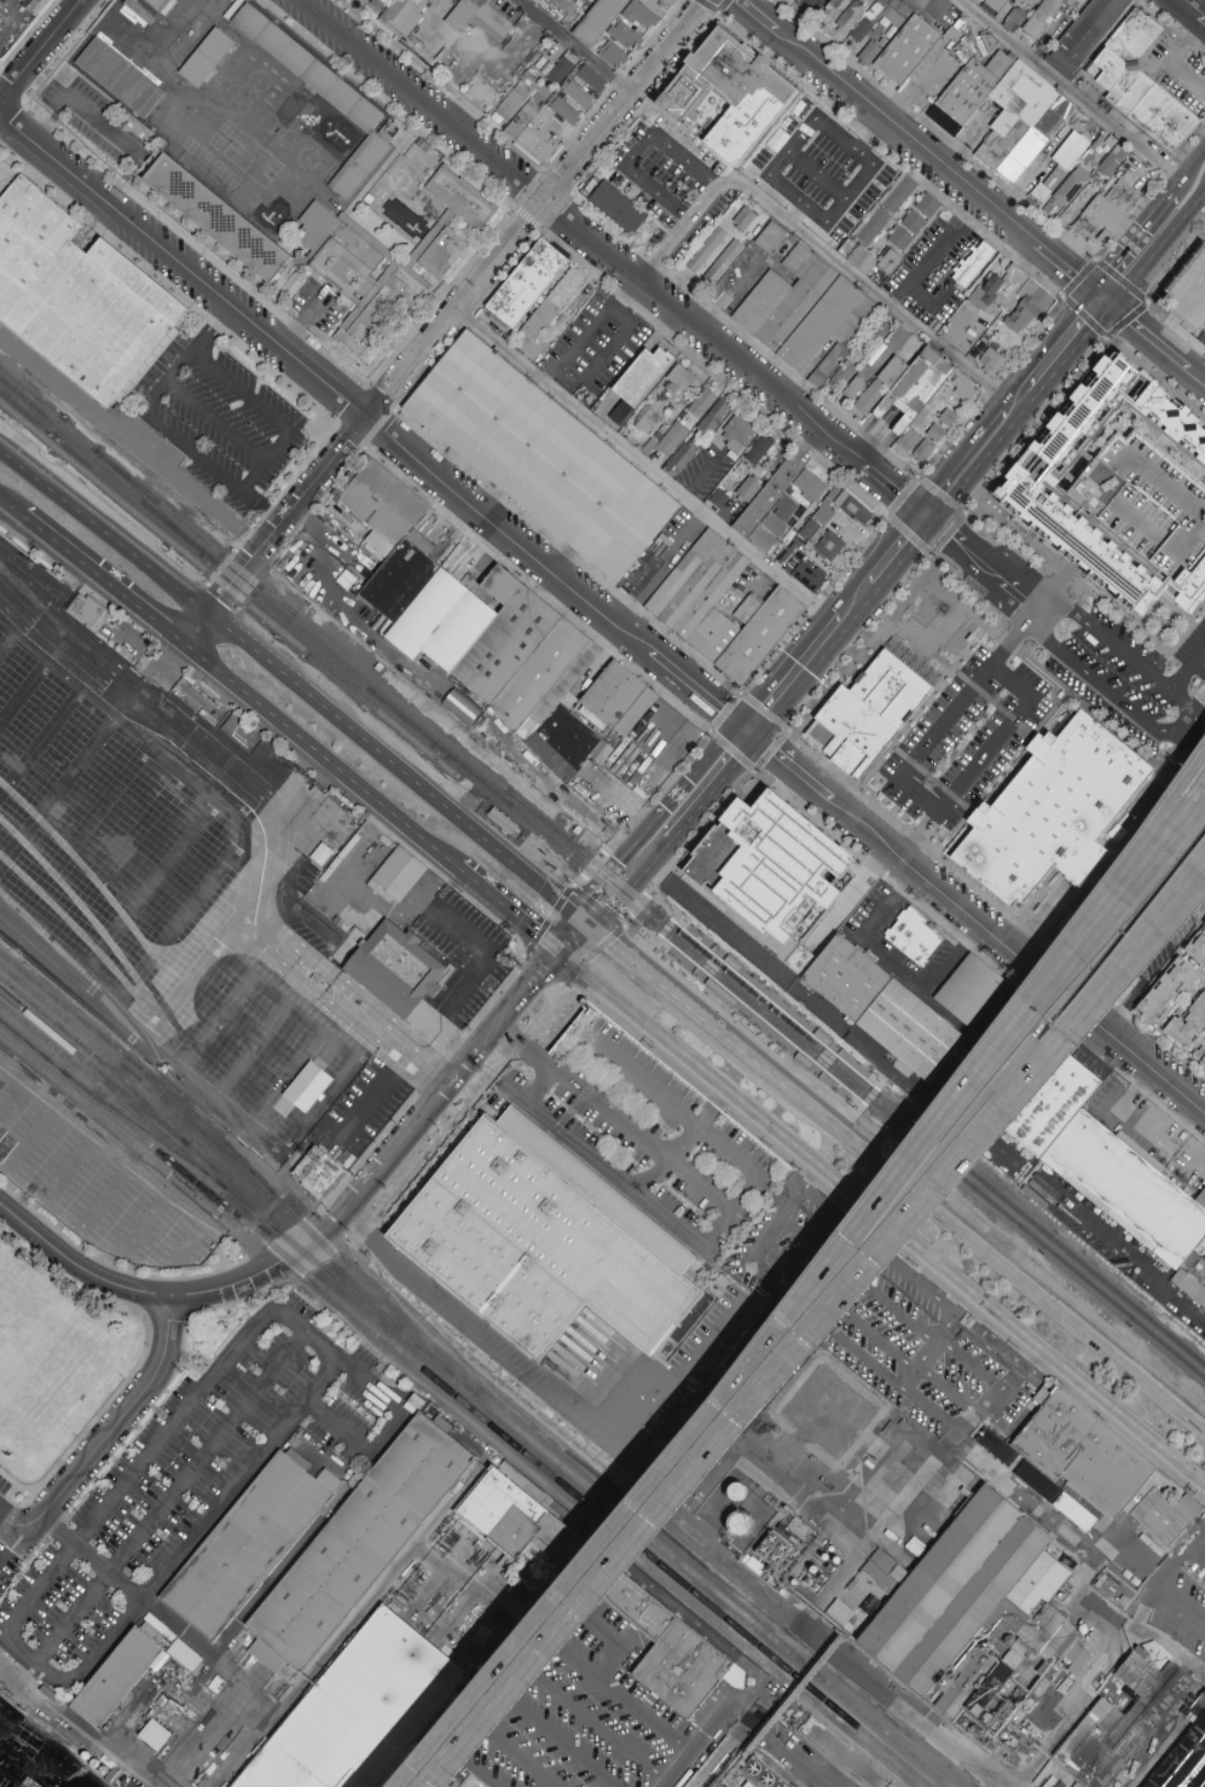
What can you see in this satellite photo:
road: (83, 1)
building: (388, 1)
building: (423, 1)
building: (1032, 1)
building: (1073, 1)
building: (160, 5)
building: (1054, 5)
building: (995, 6)
building: (834, 10)
building: (644, 12)
road: (1189, 12)
building: (137, 14)
building: (2, 18)
building: (483, 19)
building: (599, 19)
building: (870, 19)
building: (1013, 19)
road: (1174, 25)
building: (1035, 28)
building: (1085, 35)
building: (616, 43)
road: (575, 46)
building: (905, 50)
road: (44, 52)
building: (209, 59)
road: (1175, 60)
building: (556, 66)
building: (1139, 85)
building: (584, 87)
building: (120, 89)
building: (320, 94)
building: (728, 94)
building: (969, 94)
road: (1070, 94)
building: (519, 106)
building: (562, 108)
building: (1020, 108)
building: (807, 123)
road: (103, 126)
building: (539, 137)
road: (917, 147)
road: (637, 150)
building: (1024, 155)
building: (1113, 161)
road: (763, 166)
building: (1055, 168)
building: (868, 182)
road: (1001, 186)
road: (1197, 188)
building: (782, 190)
building: (1065, 190)
building: (462, 198)
building: (618, 208)
building: (886, 210)
building: (1103, 211)
building: (220, 213)
building: (745, 219)
building: (914, 222)
building: (834, 224)
road: (1151, 228)
road: (1126, 233)
building: (770, 238)
road: (819, 248)
building: (706, 250)
road: (614, 253)
building: (724, 260)
building: (874, 260)
building: (973, 265)
building: (377, 274)
building: (521, 279)
building: (995, 291)
road: (1149, 291)
building: (1189, 295)
parking lot: (1189, 295)
building: (73, 297)
track: (73, 297)
traffic signals: (1097, 297)
building: (549, 302)
building: (1027, 307)
road: (608, 308)
building: (812, 317)
road: (1111, 330)
building: (877, 332)
road: (433, 338)
road: (1151, 341)
building: (986, 360)
building: (637, 375)
building: (679, 382)
building: (877, 385)
road: (991, 387)
building: (853, 389)
building: (963, 389)
building: (913, 390)
road: (1008, 402)
building: (707, 411)
building: (948, 418)
building: (647, 419)
road: (371, 420)
road: (215, 422)
road: (1032, 423)
building: (736, 433)
building: (935, 434)
road: (132, 439)
building: (672, 439)
building: (644, 445)
building: (914, 445)
building: (759, 449)
building: (537, 454)
building: (682, 457)
road: (645, 464)
road: (216, 474)
road: (699, 476)
building: (807, 485)
building: (1117, 487)
building: (759, 495)
building: (719, 499)
railway: (147, 501)
road: (11, 509)
traffic signals: (923, 511)
building: (819, 521)
building: (774, 522)
railway: (153, 528)
building: (393, 535)
road: (931, 552)
railway: (216, 565)
building: (806, 572)
road: (102, 581)
building: (695, 592)
railway: (294, 600)
road: (554, 600)
road: (813, 604)
railway: (283, 607)
building: (86, 610)
road: (834, 619)
road: (1064, 627)
building: (755, 631)
building: (497, 643)
road: (859, 643)
road: (1188, 677)
road: (292, 684)
railway: (371, 700)
building: (462, 707)
building: (864, 710)
road: (951, 712)
railway: (381, 714)
building: (591, 719)
road: (1184, 721)
traffic signals: (746, 727)
building: (492, 729)
railway: (175, 735)
railway: (440, 750)
railway: (166, 756)
road: (319, 758)
road: (979, 760)
road: (754, 768)
railway: (158, 774)
railway: (152, 795)
railway: (508, 797)
building: (1049, 807)
railway: (147, 810)
railway: (141, 830)
road: (651, 841)
railway: (13, 845)
road: (277, 845)
railway: (135, 852)
building: (315, 854)
road: (1142, 854)
building: (767, 859)
railway: (6, 865)
building: (398, 872)
road: (1142, 872)
railway: (126, 886)
road: (1177, 889)
road: (1177, 895)
road: (505, 910)
railway: (674, 910)
road: (614, 918)
road: (711, 918)
road: (974, 919)
traffic signals: (583, 922)
road: (660, 932)
railway: (656, 933)
building: (919, 939)
building: (1198, 947)
railway: (51, 951)
traffic signals: (555, 952)
road: (654, 958)
road: (891, 961)
road: (202, 963)
road: (708, 964)
building: (392, 967)
railway: (74, 987)
building: (1168, 988)
building: (973, 992)
road: (673, 998)
road: (775, 999)
building: (888, 1010)
road: (757, 1022)
building: (1189, 1023)
road: (435, 1025)
road: (388, 1033)
railway: (22, 1043)
road: (822, 1057)
building: (1200, 1057)
railway: (95, 1058)
railway: (825, 1067)
railway: (131, 1072)
building: (308, 1087)
railway: (886, 1103)
railway: (141, 1107)
building: (1054, 1110)
road: (614, 1116)
railway: (139, 1127)
road: (676, 1139)
road: (71, 1161)
railway: (241, 1161)
road: (386, 1162)
road: (138, 1165)
building: (317, 1172)
parking lot: (103, 1187)
building: (1128, 1191)
road: (109, 1193)
road: (780, 1214)
road: (879, 1218)
road: (147, 1219)
road: (712, 1235)
road: (192, 1237)
building: (534, 1248)
road: (985, 1257)
building: (1198, 1260)
road: (77, 1264)
building: (1183, 1283)
road: (891, 1304)
road: (839, 1306)
road: (303, 1331)
road: (934, 1339)
road: (491, 1345)
road: (697, 1347)
road: (796, 1352)
park: (42, 1356)
road: (747, 1365)
park: (51, 1367)
road: (359, 1381)
road: (903, 1389)
road: (949, 1391)
railway: (477, 1394)
railway: (465, 1404)
road: (97, 1416)
road: (331, 1417)
road: (106, 1434)
road: (955, 1437)
building: (1100, 1473)
parking lot: (2, 1486)
parking lot: (189, 1486)
road: (167, 1497)
parking lot: (4, 1507)
building: (723, 1508)
building: (1068, 1512)
building: (497, 1514)
road: (1059, 1526)
building: (801, 1533)
building: (359, 1541)
road: (10, 1543)
building: (244, 1545)
parking lot: (7, 1563)
parking lot: (2, 1583)
road: (1077, 1596)
building: (949, 1599)
road: (1184, 1608)
building: (1030, 1613)
road: (532, 1619)
railway: (716, 1620)
road: (176, 1625)
building: (184, 1655)
building: (666, 1658)
building: (1071, 1659)
road: (77, 1670)
building: (731, 1676)
building: (115, 1677)
road: (610, 1686)
road: (1090, 1686)
building: (360, 1713)
road: (583, 1721)
road: (919, 1721)
building: (1113, 1722)
road: (218, 1733)
road: (549, 1734)
building: (156, 1735)
road: (696, 1744)
road: (782, 1745)
road: (509, 1746)
building: (841, 1753)
road: (118, 1754)
pier: (27, 1760)
road: (471, 1760)
building: (1183, 1762)
building: (761, 1774)
building: (469, 1782)

